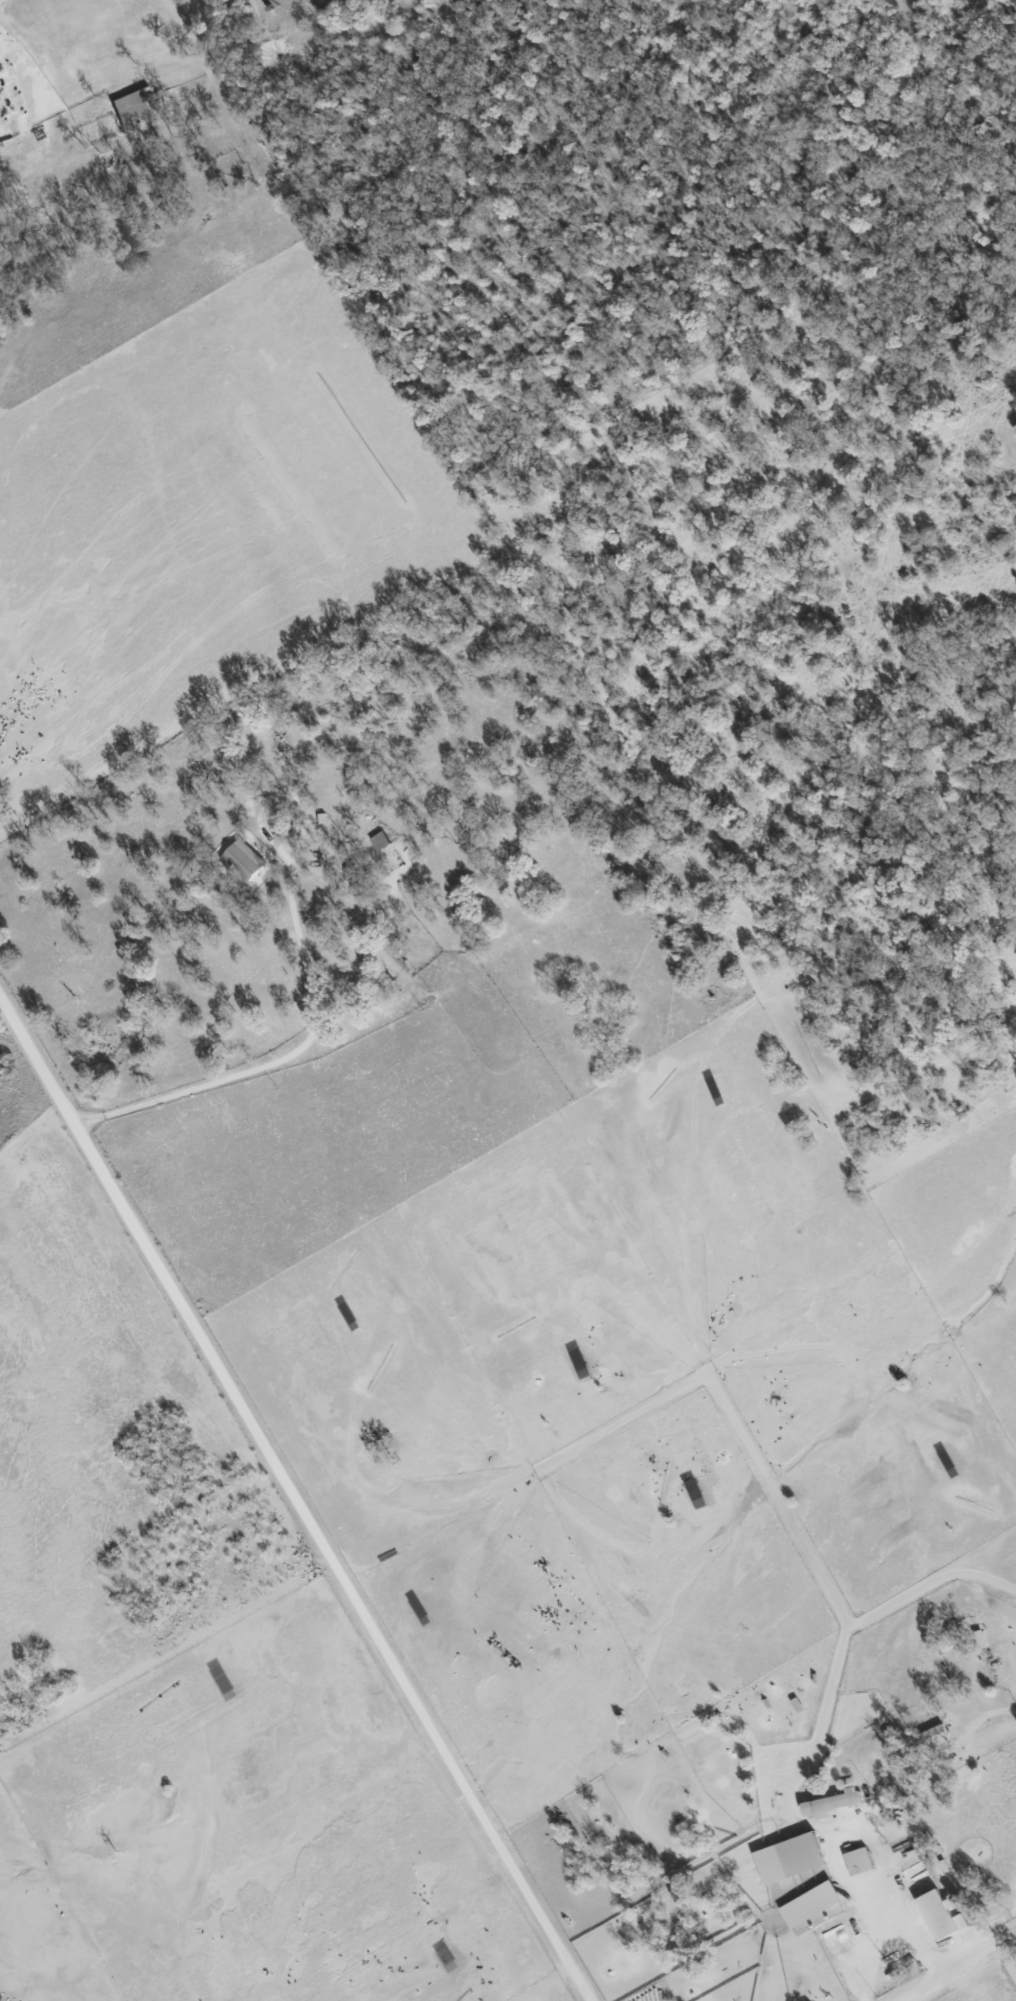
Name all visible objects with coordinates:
building: (126, 105)
building: (378, 841)
building: (240, 860)
road: (299, 1049)
road: (299, 1491)
building: (978, 1639)
road: (987, 1716)
building: (929, 1739)
building: (826, 1805)
road: (846, 1829)
building: (786, 1859)
building: (807, 1905)
building: (936, 1916)
road: (892, 1947)
road: (959, 1968)

